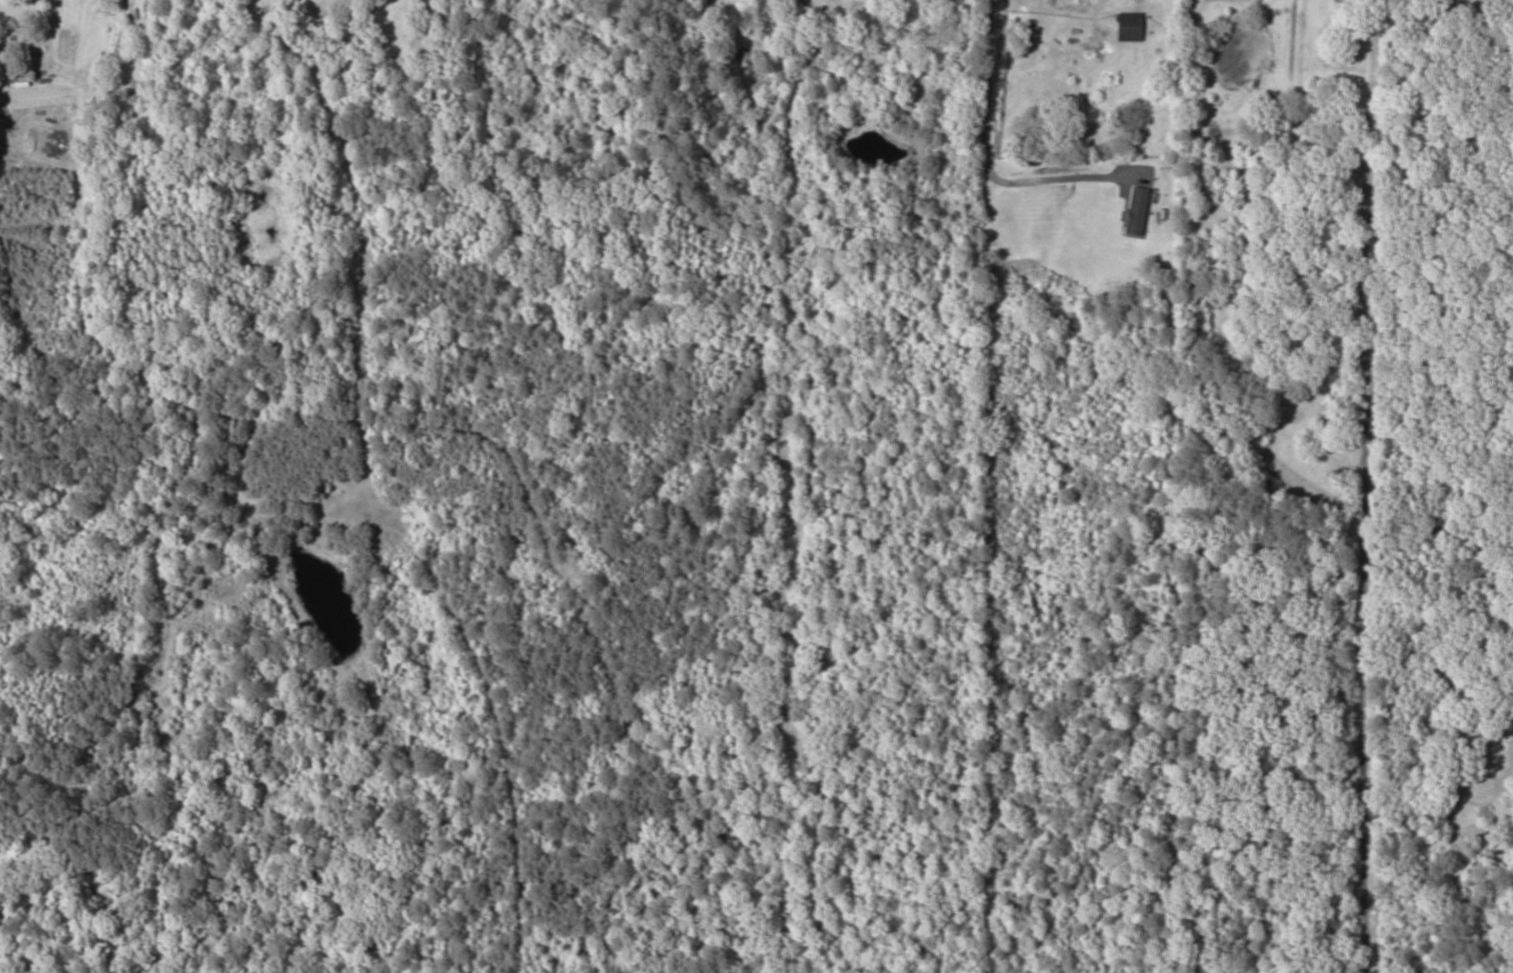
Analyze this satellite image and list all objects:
building: (1127, 27)
building: (1134, 211)

